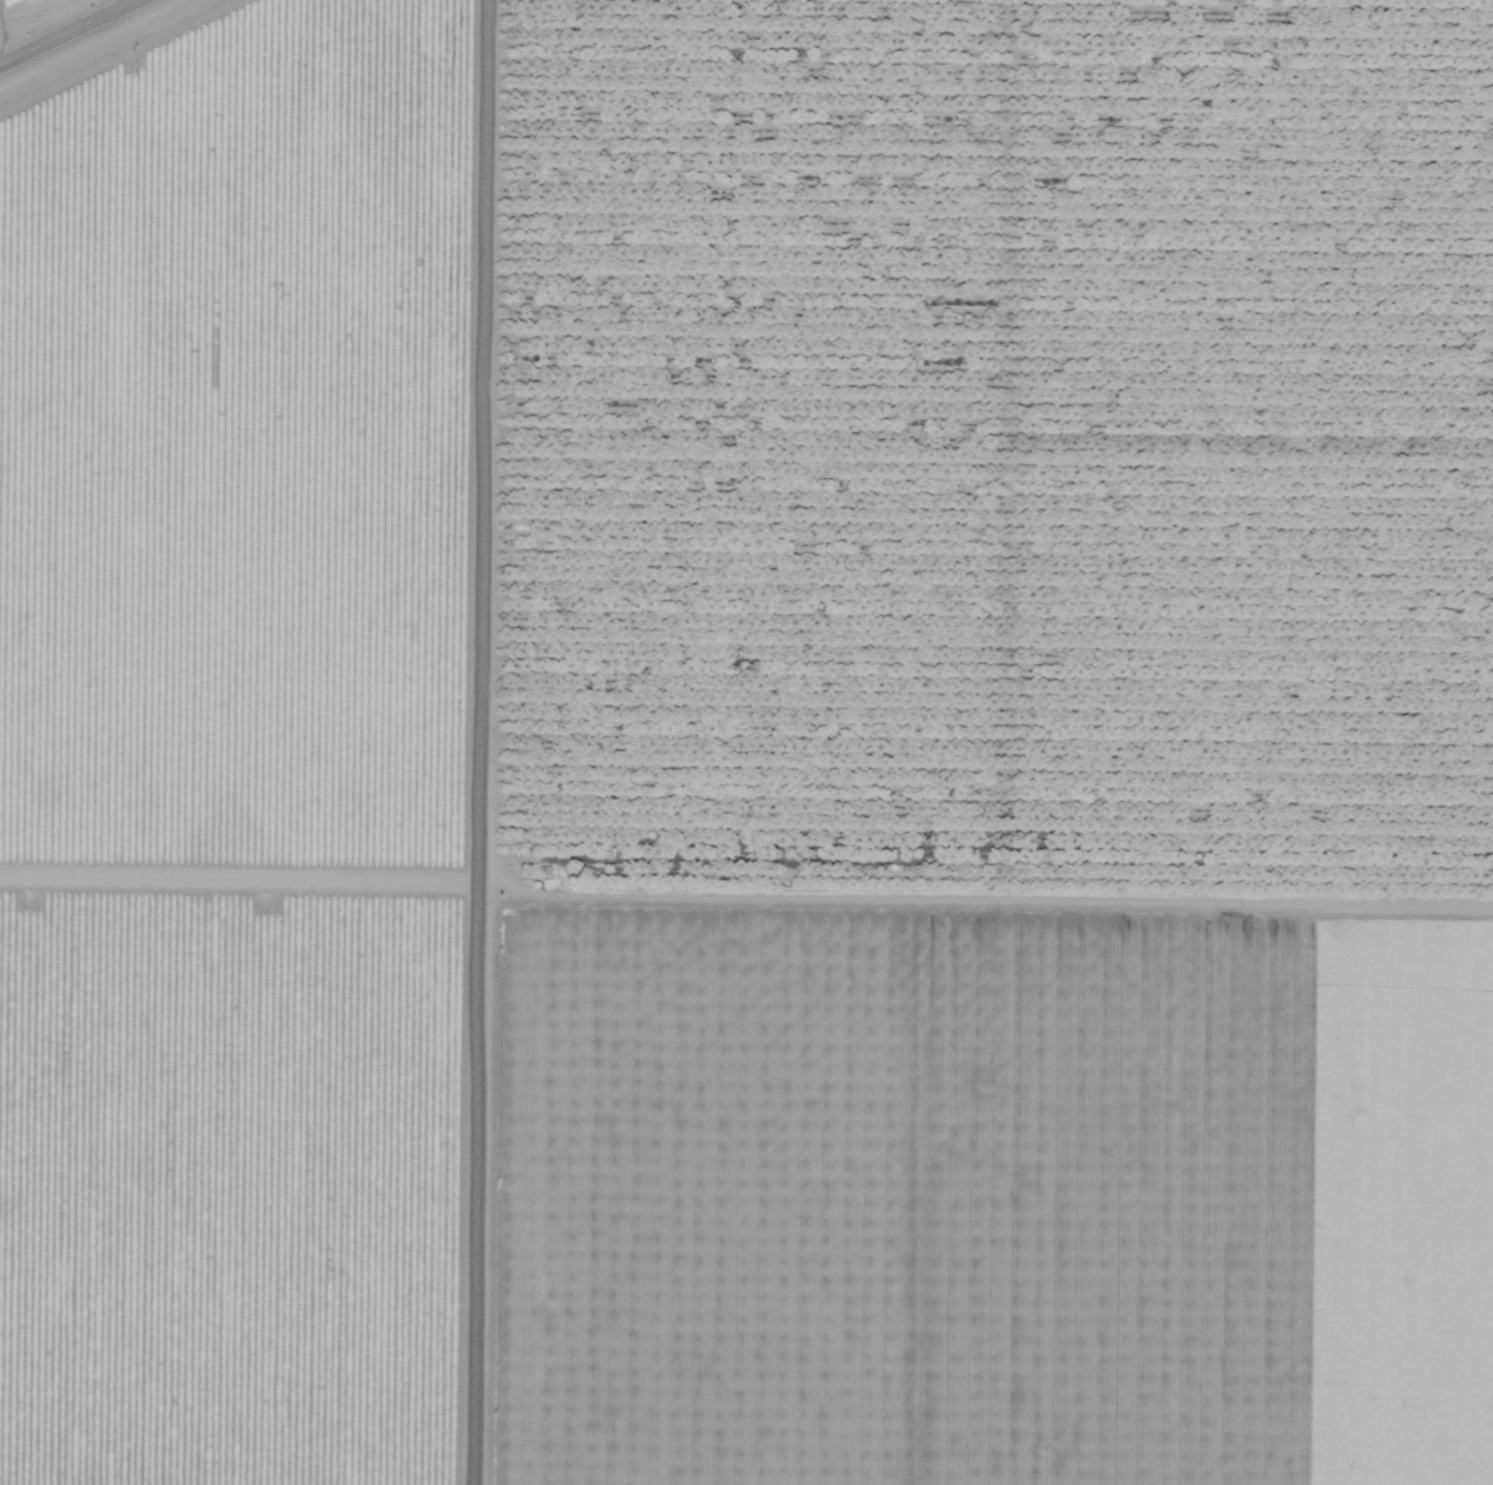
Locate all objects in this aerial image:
crop: (53, 1)
road: (110, 7)
road: (71, 33)
road: (0, 53)
road: (511, 742)
road: (1004, 844)
crop: (1006, 1181)

